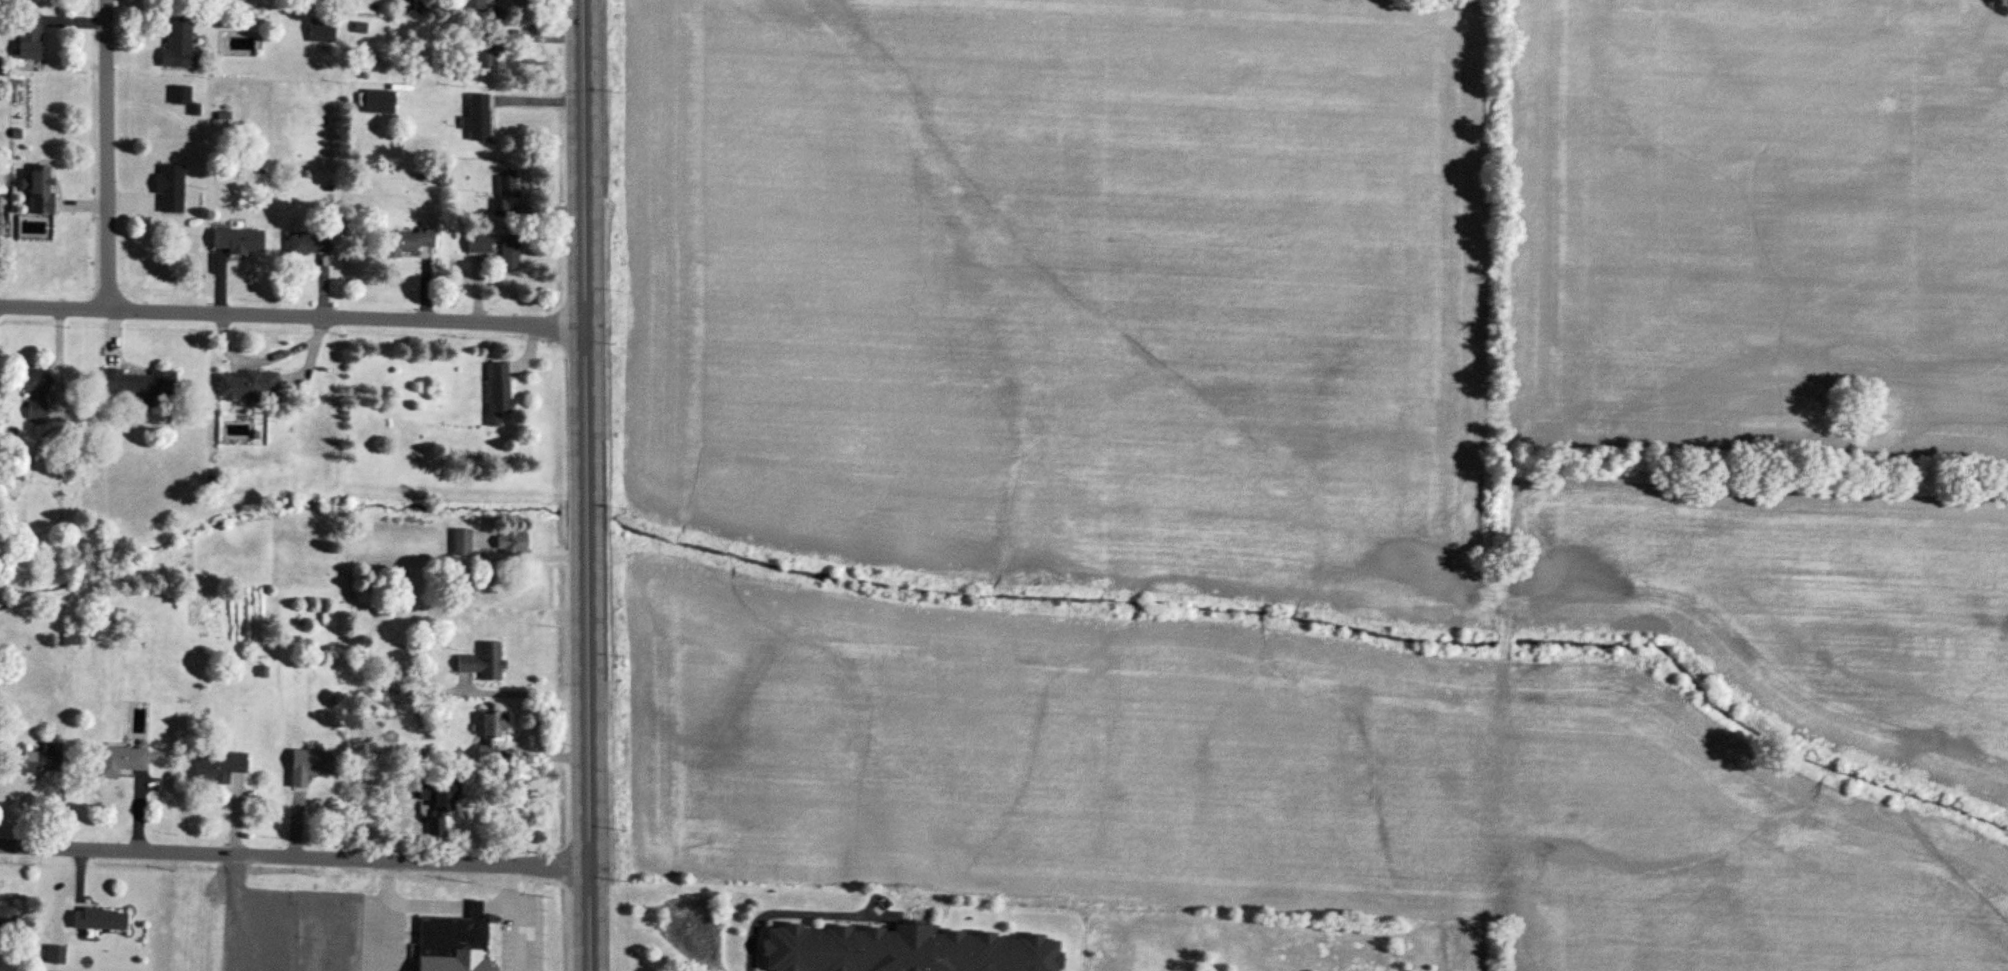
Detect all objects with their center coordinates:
building: (477, 4)
building: (321, 30)
building: (28, 36)
building: (180, 46)
building: (485, 52)
building: (181, 95)
building: (478, 118)
road: (111, 155)
building: (171, 189)
building: (39, 191)
building: (506, 192)
building: (0, 225)
building: (236, 240)
building: (408, 242)
building: (308, 243)
building: (509, 254)
road: (294, 314)
building: (138, 385)
building: (244, 385)
building: (35, 392)
building: (497, 392)
road: (589, 485)
building: (514, 540)
building: (461, 543)
road: (536, 557)
building: (483, 662)
road: (530, 694)
building: (491, 732)
building: (40, 760)
building: (122, 760)
building: (309, 766)
building: (218, 768)
building: (438, 792)
building: (435, 827)
road: (295, 856)
road: (761, 895)
road: (382, 915)
building: (7, 916)
road: (516, 916)
building: (99, 920)
building: (452, 943)
building: (901, 951)
building: (55, 955)

